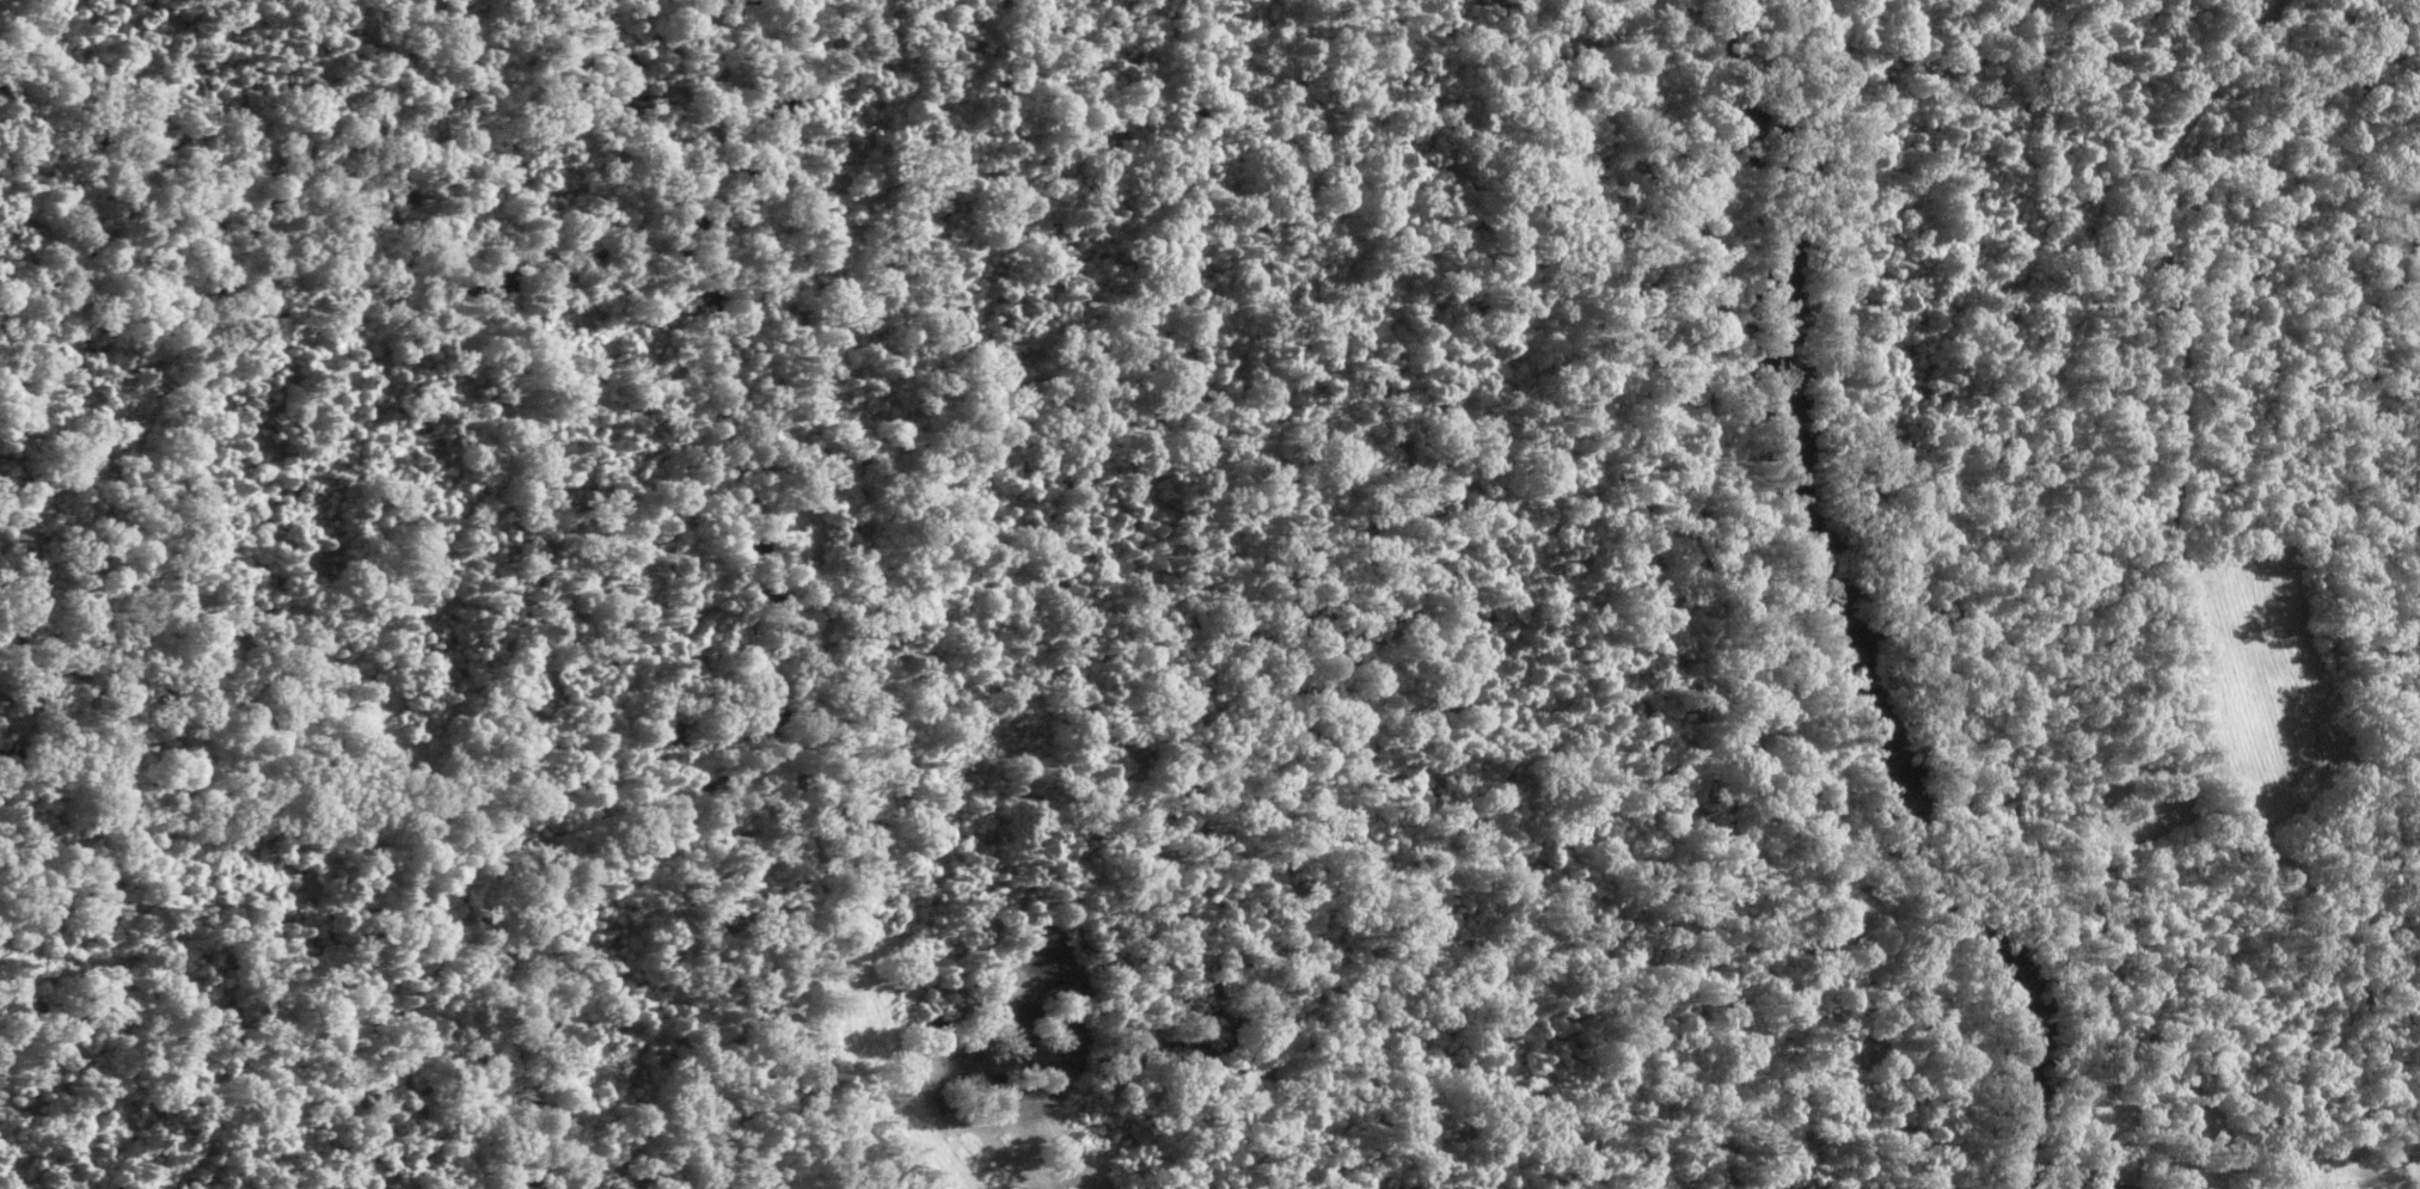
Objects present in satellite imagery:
building: (2125, 1187)

